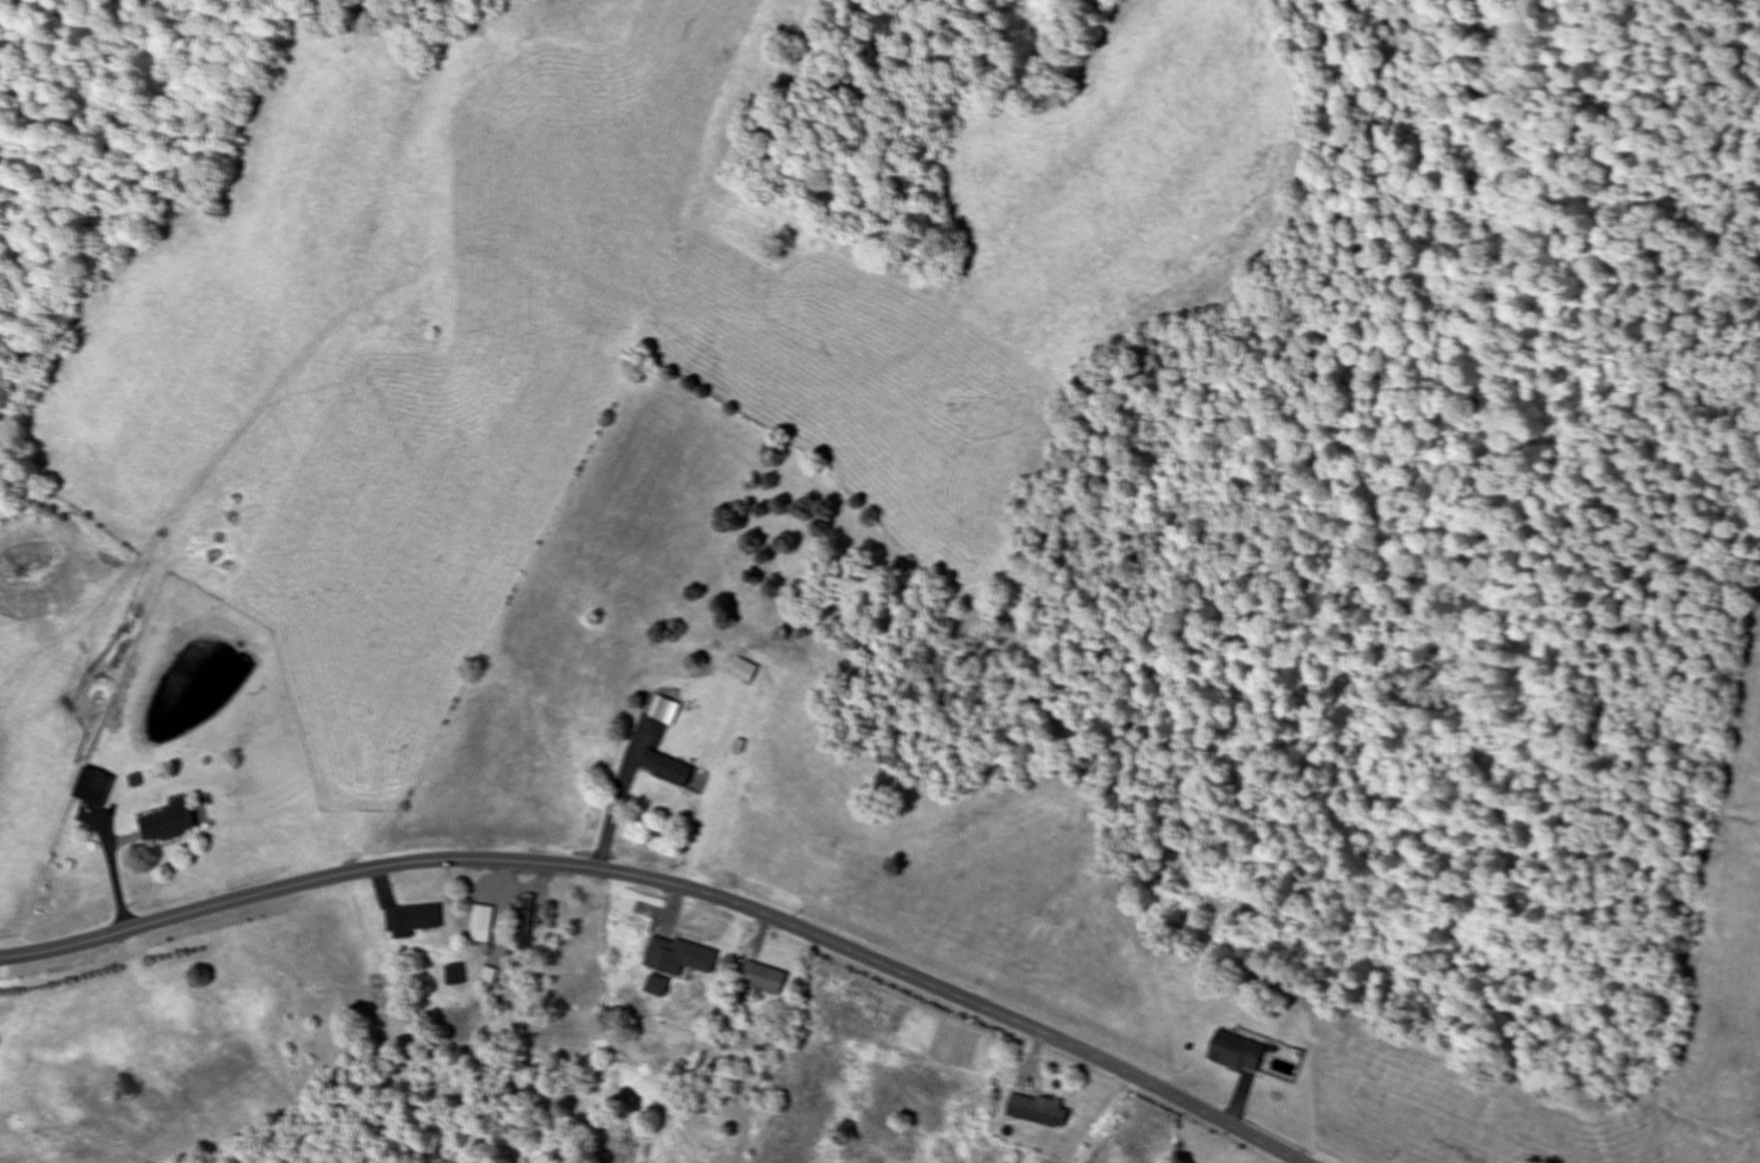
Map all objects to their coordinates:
building: (746, 671)
building: (665, 710)
building: (668, 767)
building: (94, 786)
building: (170, 822)
road: (674, 884)
building: (415, 919)
building: (483, 922)
building: (527, 923)
building: (679, 956)
building: (455, 974)
building: (489, 976)
building: (764, 978)
building: (1239, 1052)
building: (1039, 1109)

